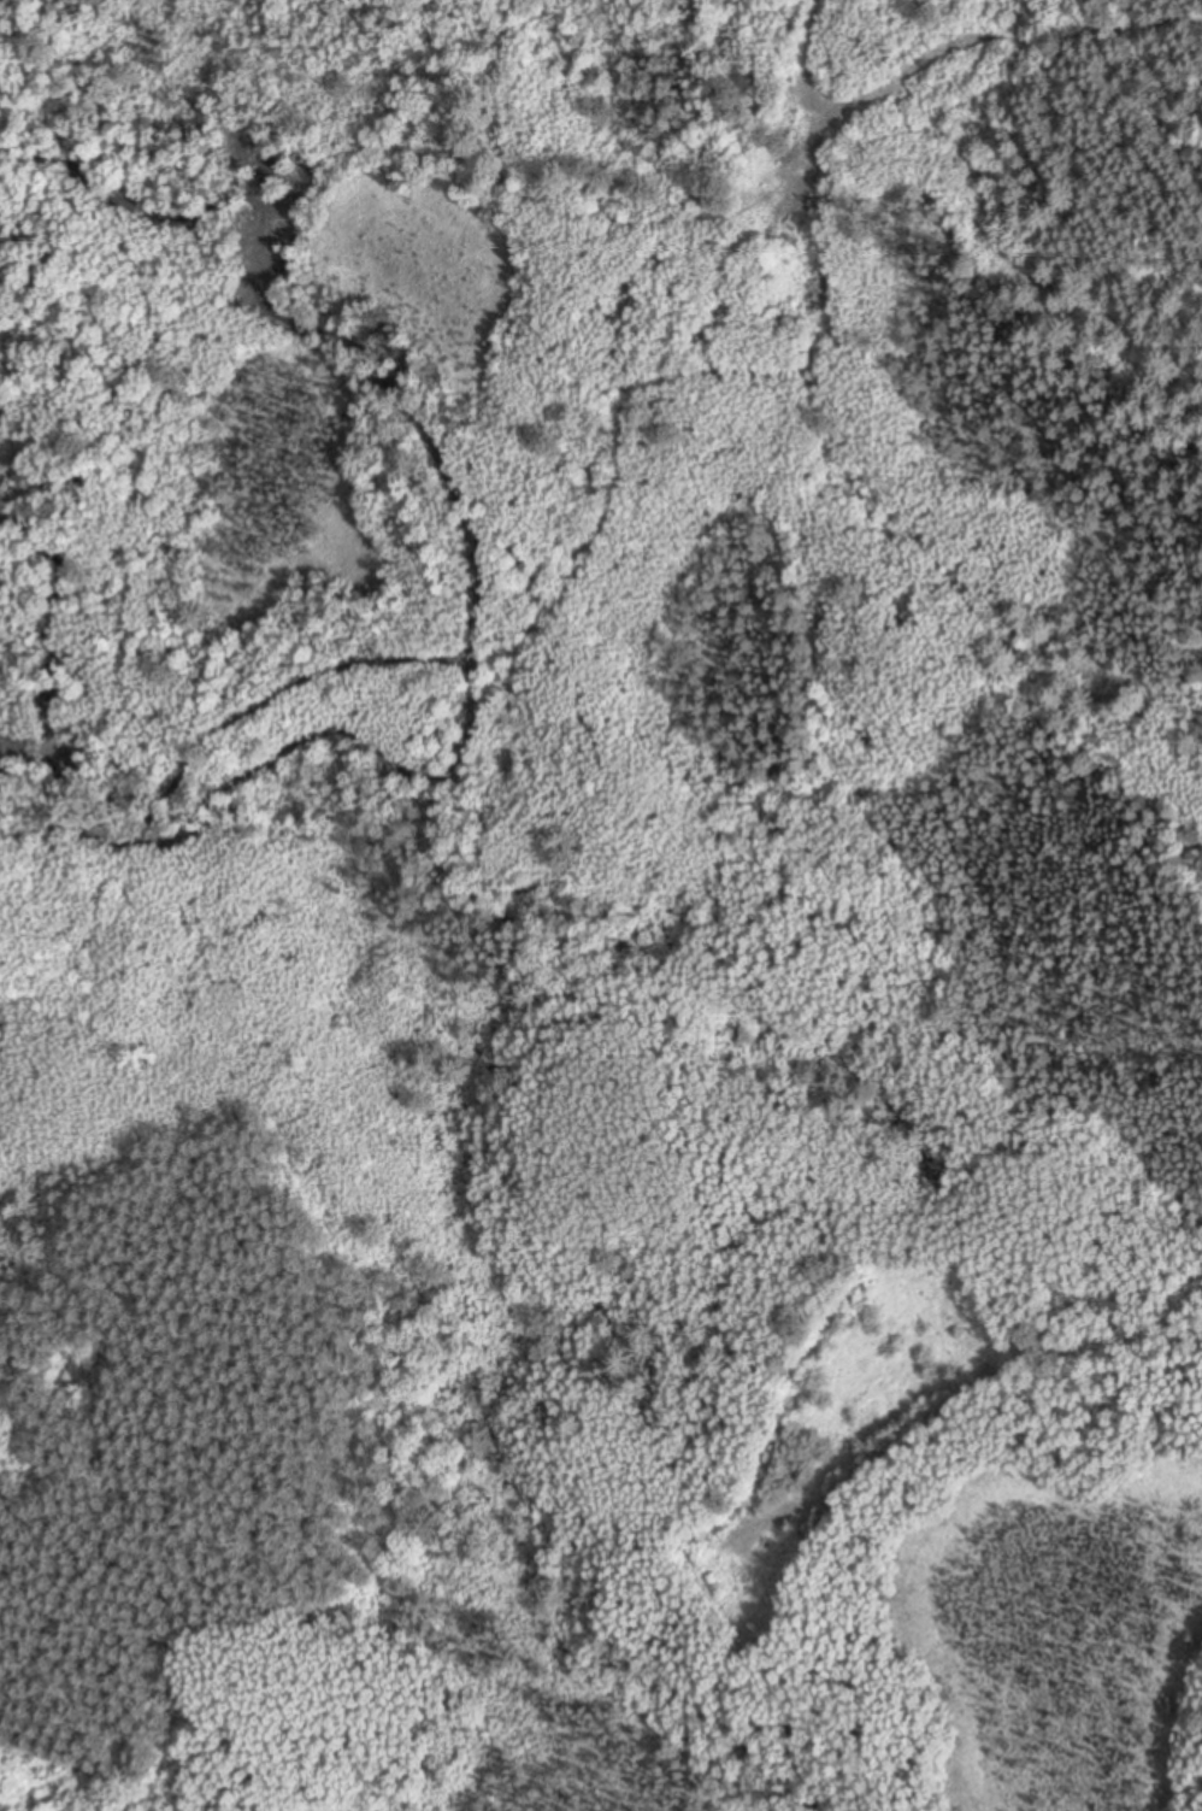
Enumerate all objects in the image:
building: (1, 217)

